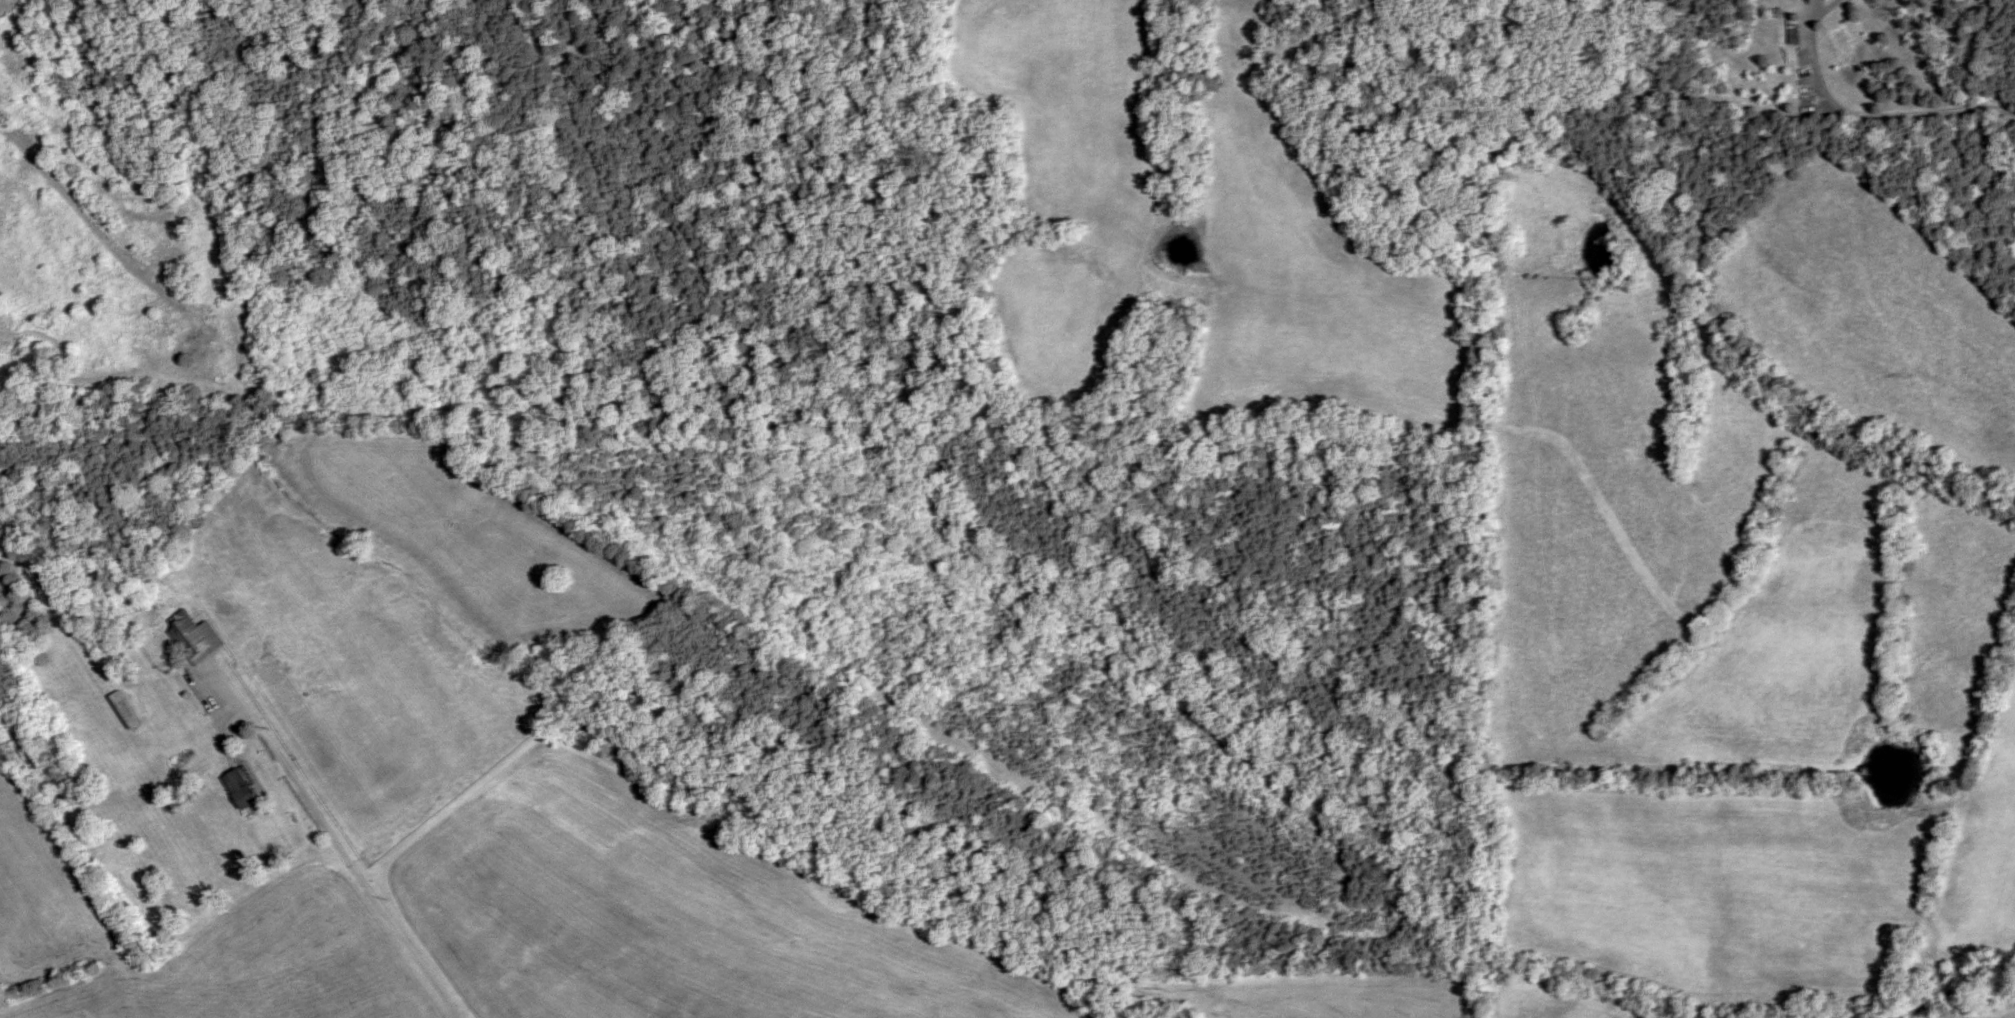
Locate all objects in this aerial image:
road: (1829, 3)
building: (1771, 45)
building: (195, 637)
building: (245, 789)
road: (355, 886)

